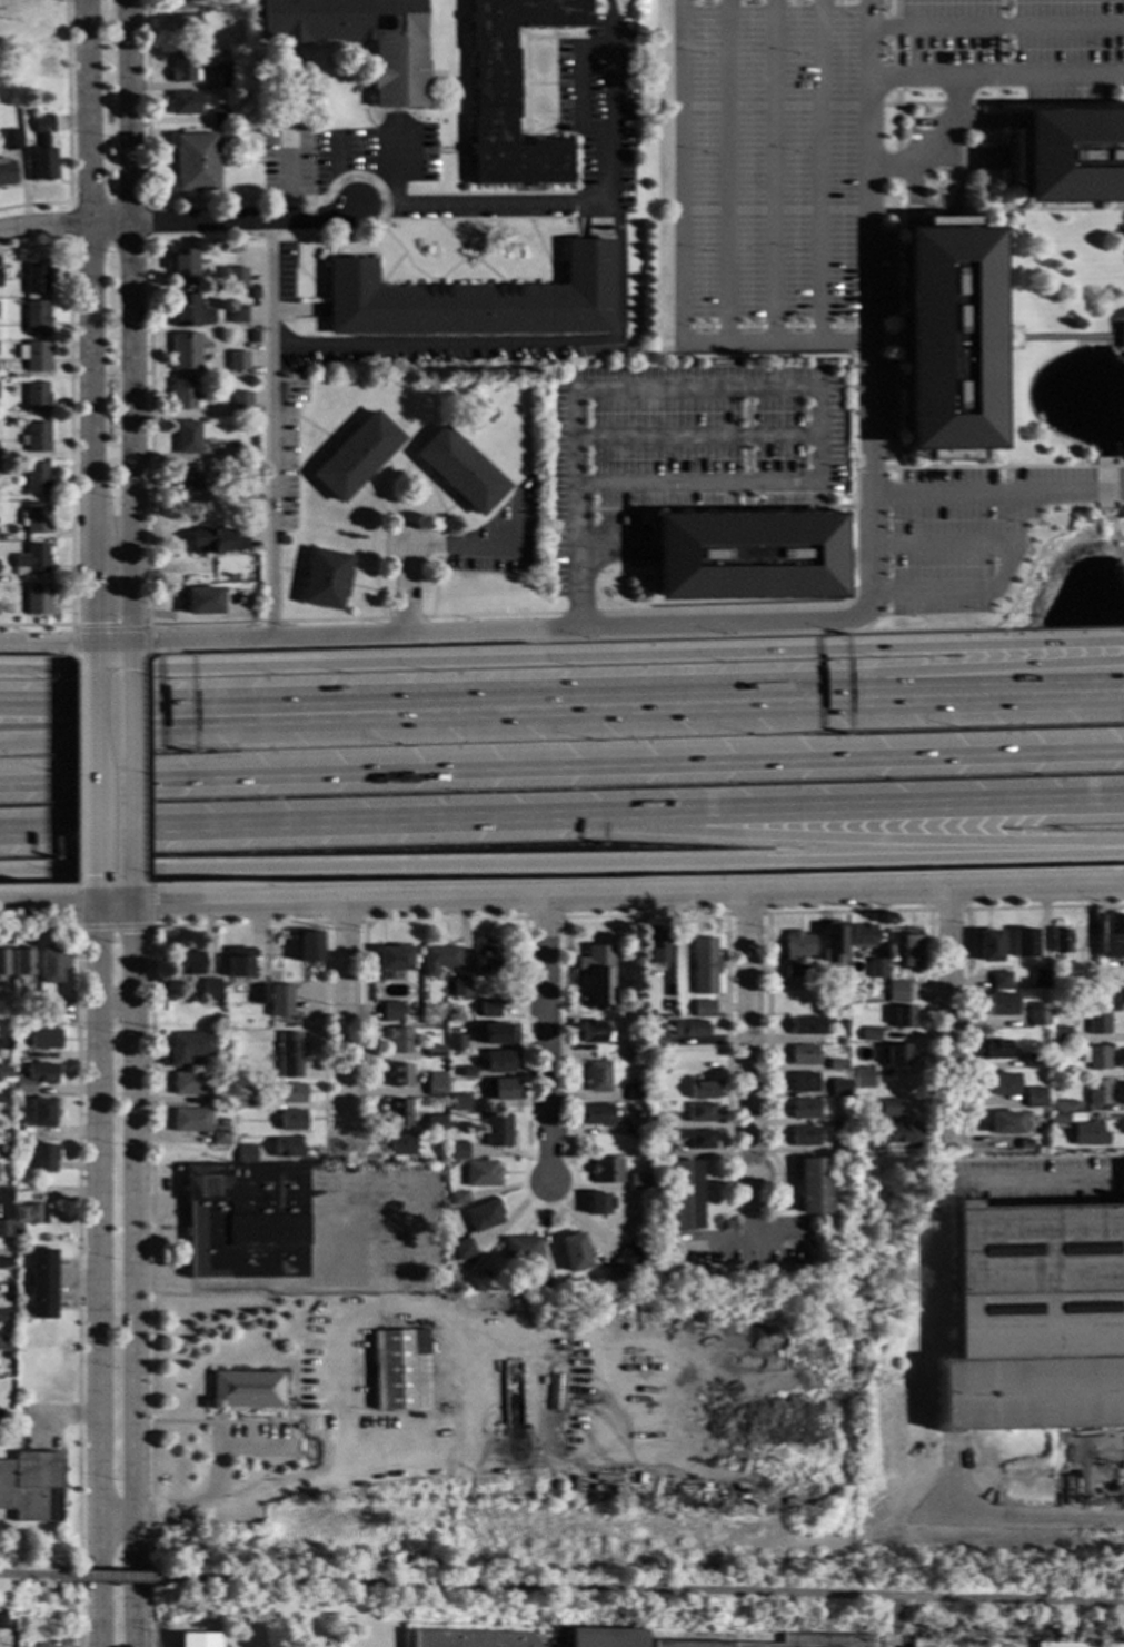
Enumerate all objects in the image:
building: (185, 1)
road: (995, 27)
building: (187, 30)
building: (228, 30)
road: (867, 38)
building: (358, 39)
road: (999, 52)
building: (185, 68)
building: (226, 76)
road: (575, 88)
building: (509, 92)
road: (604, 102)
building: (185, 103)
road: (840, 106)
building: (219, 119)
road: (67, 135)
building: (10, 141)
road: (937, 146)
building: (41, 150)
building: (1068, 155)
parking lot: (824, 158)
road: (971, 158)
road: (896, 161)
building: (193, 162)
road: (397, 167)
road: (819, 169)
road: (727, 170)
road: (772, 170)
building: (6, 173)
road: (337, 177)
road: (287, 179)
road: (951, 186)
road: (934, 189)
road: (914, 195)
road: (481, 205)
road: (787, 210)
road: (1120, 220)
road: (180, 221)
road: (869, 226)
road: (147, 241)
road: (679, 266)
building: (181, 267)
building: (0, 272)
building: (220, 272)
building: (236, 278)
building: (36, 280)
road: (999, 289)
building: (253, 295)
building: (471, 300)
building: (188, 311)
building: (235, 315)
building: (36, 318)
road: (87, 326)
road: (130, 326)
building: (253, 337)
road: (1070, 337)
building: (1121, 337)
building: (949, 338)
road: (1021, 338)
road: (513, 343)
building: (183, 350)
building: (33, 356)
building: (236, 360)
road: (747, 387)
building: (181, 395)
building: (34, 397)
road: (68, 399)
building: (481, 403)
building: (240, 404)
building: (241, 424)
road: (271, 430)
building: (243, 435)
road: (698, 436)
building: (186, 437)
building: (34, 438)
building: (230, 448)
parking lot: (677, 456)
building: (355, 457)
road: (1001, 467)
building: (460, 470)
building: (36, 478)
building: (190, 480)
building: (236, 490)
road: (997, 495)
road: (716, 508)
building: (34, 519)
parking lot: (972, 528)
road: (614, 537)
building: (282, 540)
road: (942, 540)
building: (216, 542)
road: (462, 545)
building: (746, 556)
building: (30, 562)
building: (324, 579)
road: (407, 588)
road: (958, 592)
road: (148, 593)
building: (37, 599)
building: (201, 601)
road: (406, 618)
road: (34, 625)
road: (71, 628)
road: (147, 628)
road: (108, 631)
road: (424, 634)
road: (567, 641)
road: (561, 659)
road: (995, 678)
road: (995, 691)
road: (206, 701)
road: (639, 702)
road: (206, 724)
road: (90, 766)
road: (131, 766)
road: (561, 766)
road: (145, 768)
road: (78, 770)
road: (845, 807)
road: (282, 823)
road: (844, 836)
road: (561, 864)
road: (229, 886)
road: (40, 889)
road: (130, 893)
road: (91, 894)
road: (607, 895)
road: (44, 906)
road: (946, 910)
road: (745, 914)
road: (658, 915)
road: (544, 919)
road: (341, 923)
road: (111, 927)
building: (862, 936)
building: (1112, 936)
building: (1060, 940)
building: (830, 943)
building: (1023, 944)
building: (797, 945)
building: (308, 946)
building: (656, 946)
building: (987, 946)
building: (911, 947)
road: (965, 947)
building: (392, 959)
building: (438, 960)
building: (1084, 960)
building: (486, 961)
building: (237, 962)
building: (2, 963)
building: (21, 963)
building: (188, 963)
building: (49, 965)
building: (704, 966)
building: (876, 968)
building: (795, 971)
building: (595, 976)
building: (1038, 979)
building: (999, 981)
building: (456, 989)
building: (209, 990)
building: (897, 992)
building: (258, 994)
building: (245, 1000)
building: (279, 1001)
building: (667, 1003)
building: (998, 1004)
road: (111, 1008)
building: (487, 1009)
building: (703, 1010)
building: (391, 1011)
building: (620, 1012)
building: (27, 1013)
building: (7, 1014)
building: (684, 1014)
building: (1037, 1014)
building: (903, 1016)
road: (949, 1018)
building: (43, 1019)
building: (840, 1019)
road: (341, 1021)
building: (1098, 1023)
building: (805, 1026)
building: (690, 1029)
building: (22, 1031)
building: (591, 1032)
building: (497, 1034)
building: (852, 1034)
building: (869, 1034)
road: (747, 1035)
building: (1061, 1035)
building: (42, 1039)
road: (546, 1039)
building: (656, 1040)
building: (398, 1041)
building: (455, 1042)
building: (3, 1044)
building: (188, 1048)
building: (993, 1050)
building: (431, 1052)
building: (289, 1055)
building: (803, 1055)
building: (898, 1055)
building: (1095, 1058)
building: (497, 1061)
building: (1032, 1061)
building: (835, 1065)
building: (657, 1068)
building: (1062, 1071)
building: (3, 1072)
building: (464, 1072)
building: (398, 1075)
building: (597, 1076)
building: (33, 1078)
building: (863, 1078)
building: (239, 1080)
building: (802, 1082)
building: (187, 1084)
building: (1002, 1084)
building: (435, 1085)
road: (149, 1089)
building: (838, 1089)
building: (501, 1090)
building: (702, 1090)
building: (634, 1092)
building: (1098, 1092)
building: (291, 1093)
building: (1034, 1098)
building: (0, 1099)
building: (245, 1102)
building: (458, 1102)
building: (1060, 1107)
building: (888, 1108)
building: (803, 1109)
building: (40, 1113)
building: (395, 1113)
building: (699, 1113)
building: (595, 1114)
building: (1057, 1119)
building: (190, 1120)
building: (658, 1120)
building: (291, 1121)
building: (235, 1122)
building: (635, 1123)
building: (1004, 1123)
building: (435, 1124)
building: (496, 1130)
building: (904, 1133)
building: (1088, 1134)
building: (218, 1135)
building: (804, 1137)
building: (697, 1139)
building: (1024, 1143)
building: (399, 1147)
building: (287, 1148)
building: (2, 1149)
building: (457, 1151)
building: (246, 1154)
building: (42, 1158)
building: (605, 1170)
building: (480, 1174)
road: (1044, 1180)
building: (637, 1182)
building: (7, 1185)
building: (812, 1185)
building: (685, 1194)
building: (20, 1195)
building: (457, 1199)
building: (598, 1203)
road: (747, 1212)
building: (29, 1214)
building: (483, 1216)
building: (246, 1222)
building: (4, 1228)
building: (19, 1230)
parking lot: (377, 1230)
building: (812, 1243)
building: (673, 1248)
road: (742, 1248)
building: (520, 1249)
road: (76, 1250)
building: (462, 1250)
building: (573, 1253)
building: (631, 1254)
building: (3, 1262)
building: (615, 1271)
road: (132, 1276)
road: (96, 1277)
building: (539, 1279)
building: (679, 1279)
building: (40, 1284)
road: (301, 1287)
building: (8, 1292)
building: (4, 1317)
road: (348, 1317)
building: (1035, 1320)
building: (6, 1343)
building: (7, 1356)
building: (399, 1370)
building: (246, 1389)
building: (510, 1392)
building: (555, 1392)
building: (2, 1421)
road: (251, 1423)
road: (219, 1446)
road: (501, 1457)
building: (31, 1487)
road: (152, 1515)
road: (1045, 1518)
road: (28, 1575)
road: (112, 1577)
road: (646, 1591)
road: (893, 1618)
building: (2, 1621)
building: (604, 1638)
building: (470, 1639)
building: (199, 1640)
building: (792, 1641)
road: (891, 1643)
building: (1074, 1644)

